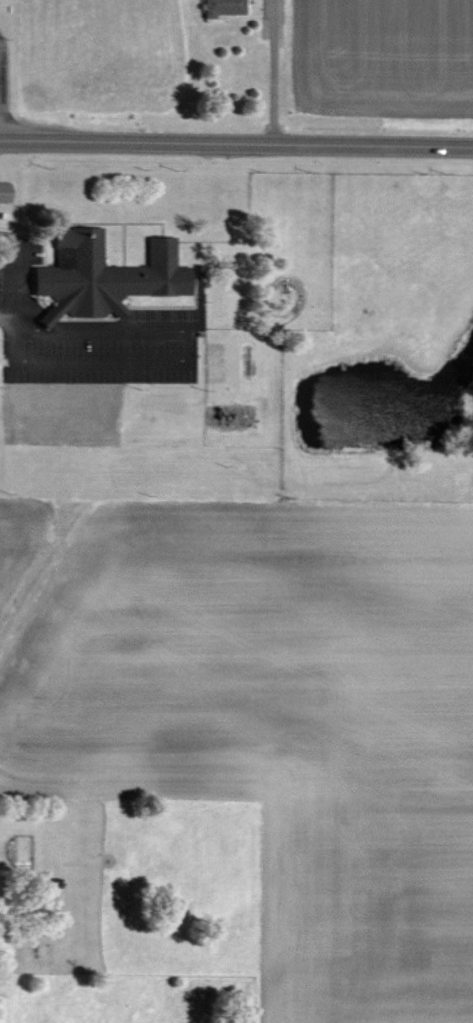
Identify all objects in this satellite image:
building: (225, 7)
road: (2, 60)
road: (272, 77)
road: (0, 125)
road: (236, 143)
building: (6, 191)
road: (7, 272)
building: (106, 276)
road: (6, 320)
road: (190, 360)

